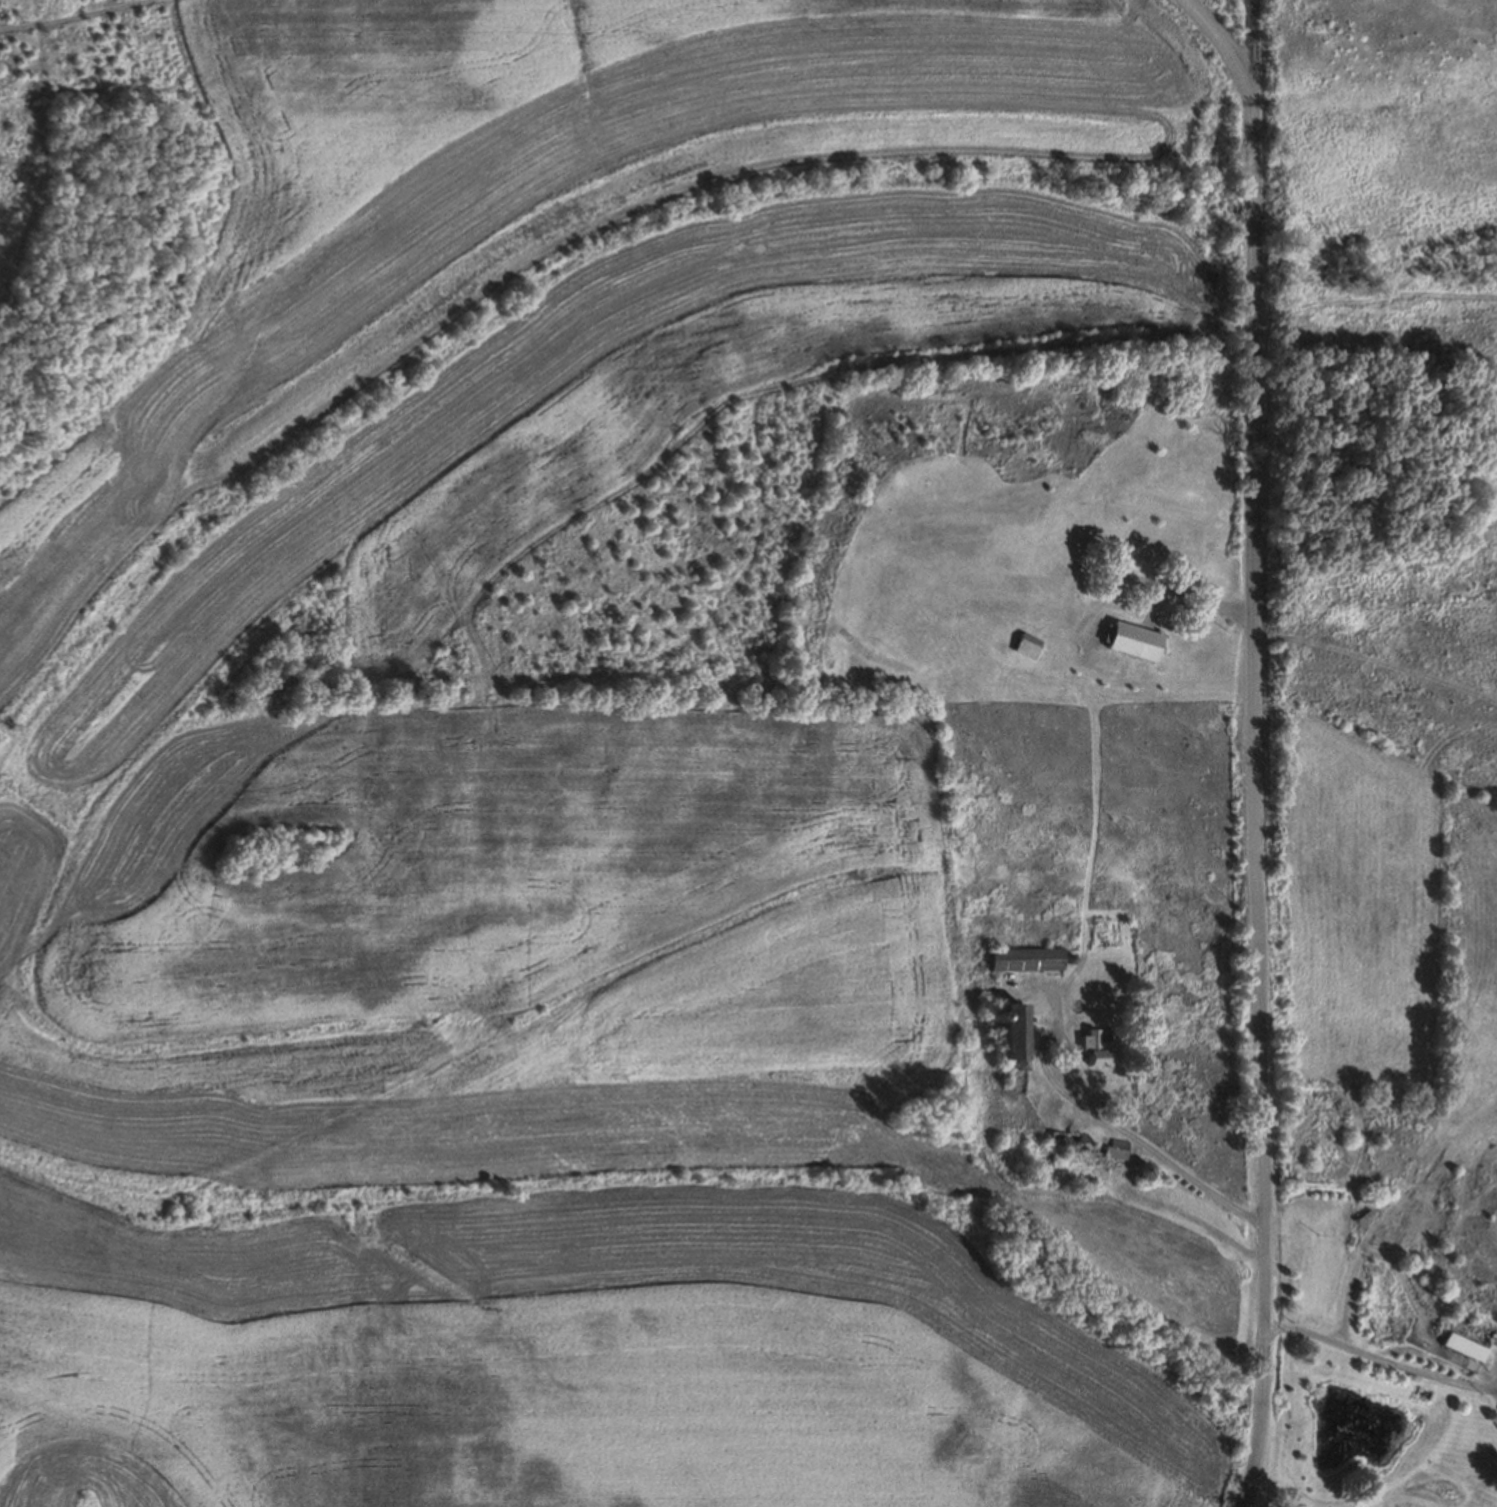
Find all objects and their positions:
road: (1221, 41)
road: (1252, 754)
building: (1023, 960)
building: (1004, 1032)
building: (1093, 1050)
building: (1063, 1141)
building: (1116, 1150)
building: (1464, 1337)
road: (1375, 1358)

